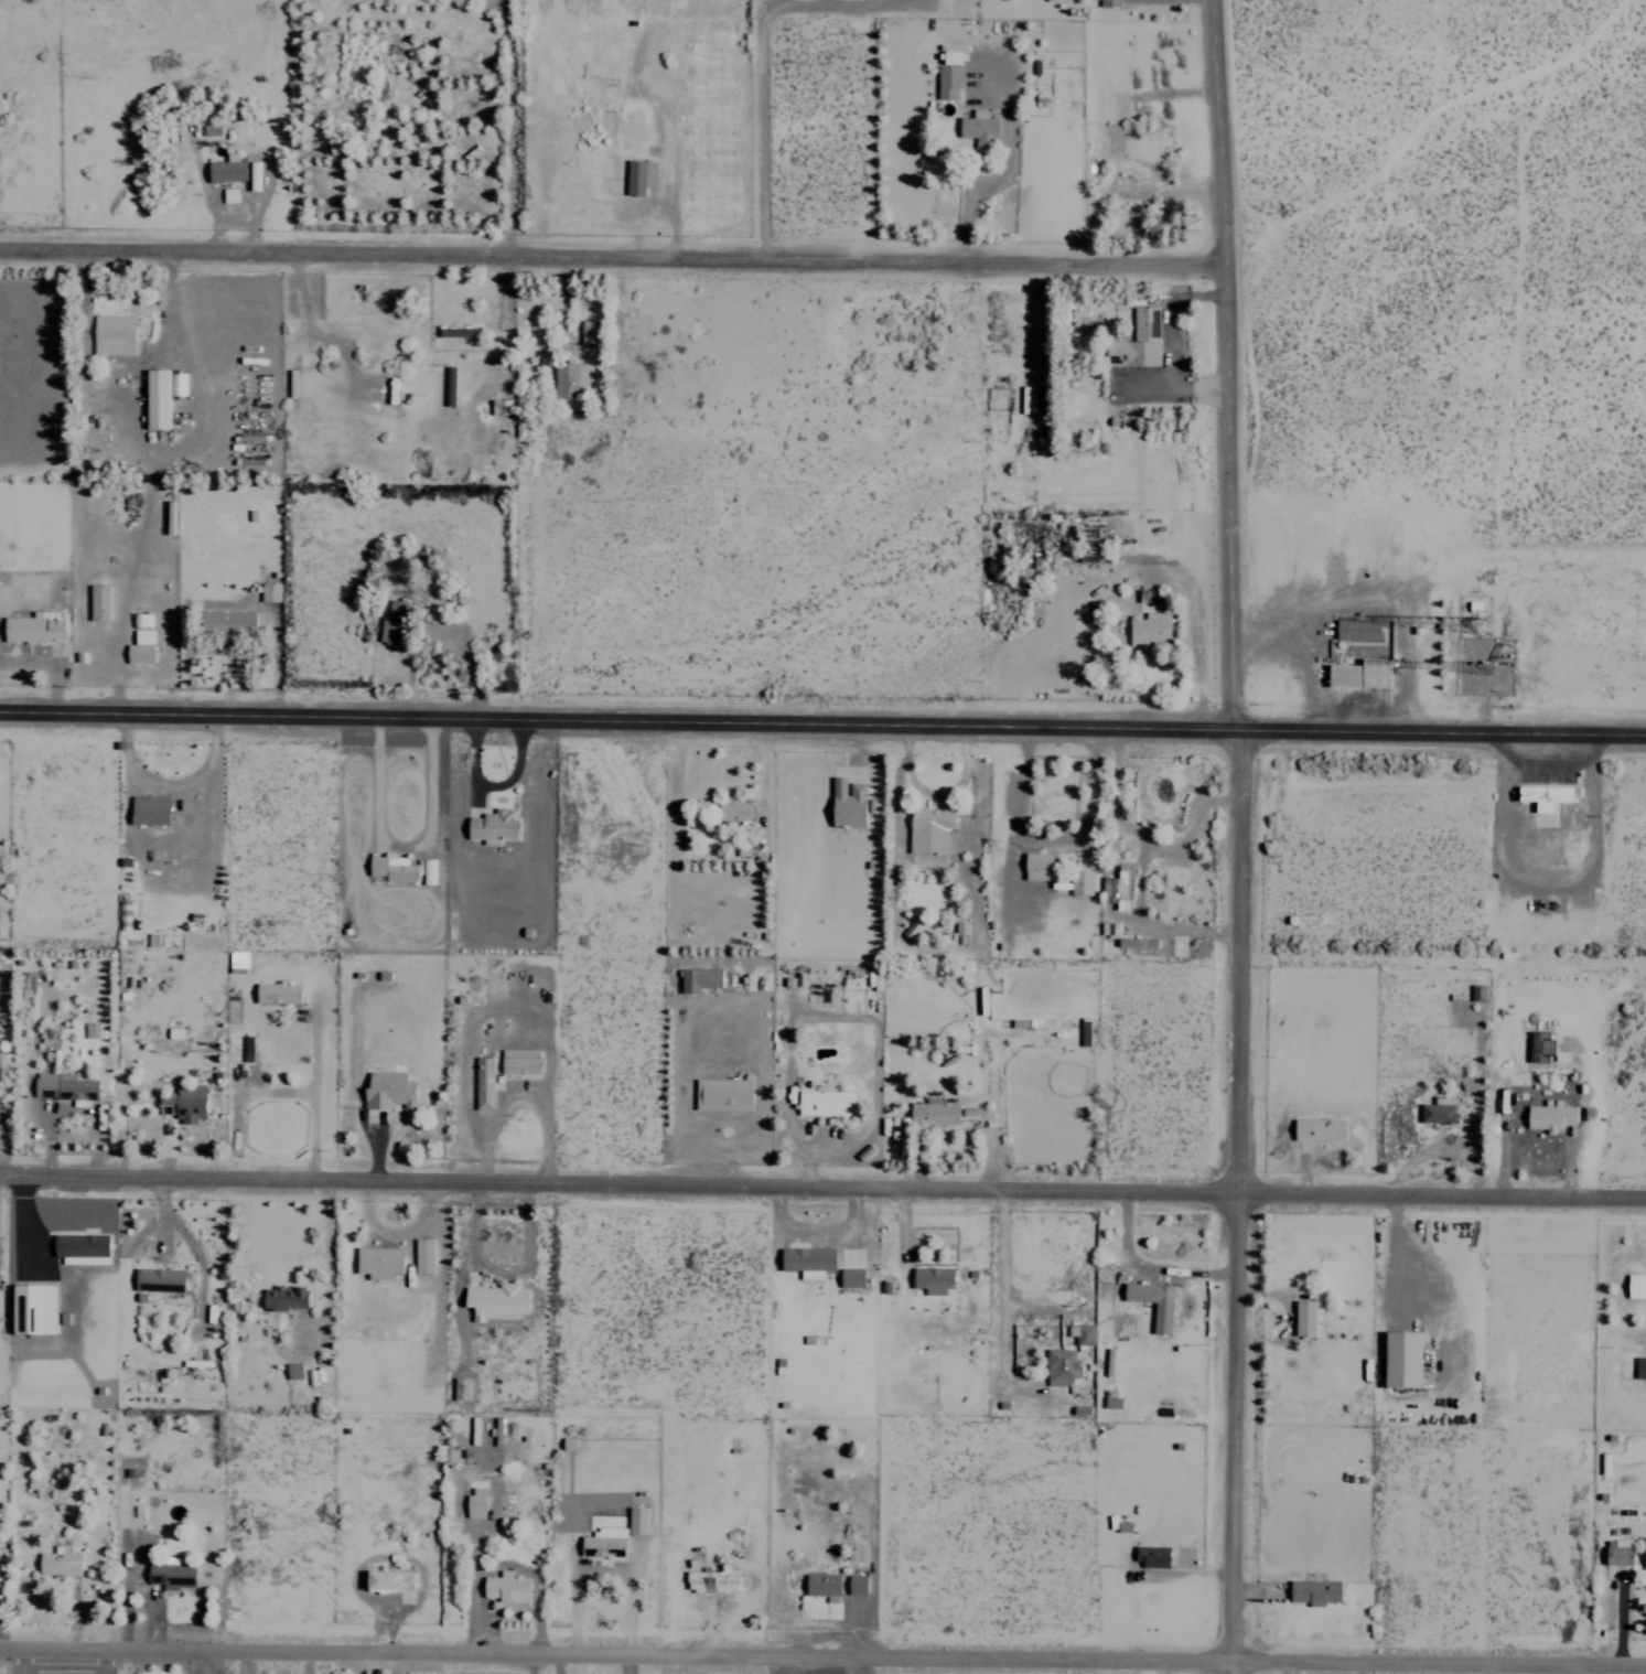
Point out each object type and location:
building: (1107, 2)
building: (947, 81)
building: (208, 127)
road: (756, 127)
building: (977, 128)
building: (226, 174)
building: (251, 175)
building: (638, 175)
road: (611, 255)
building: (458, 331)
building: (587, 332)
building: (111, 334)
building: (1136, 341)
park: (1462, 355)
road: (1223, 363)
building: (569, 379)
building: (154, 398)
building: (1086, 544)
building: (268, 592)
building: (97, 602)
building: (1150, 602)
building: (137, 620)
building: (228, 621)
building: (391, 623)
building: (33, 626)
building: (1149, 629)
building: (1355, 629)
building: (139, 647)
building: (1359, 673)
road: (822, 719)
building: (1545, 795)
building: (846, 803)
building: (148, 809)
building: (732, 811)
building: (491, 826)
building: (928, 830)
building: (1036, 866)
building: (391, 868)
building: (426, 871)
building: (1122, 881)
building: (1079, 882)
building: (1303, 919)
building: (910, 929)
building: (960, 932)
building: (698, 979)
building: (276, 992)
building: (1476, 992)
building: (92, 1030)
building: (246, 1048)
building: (518, 1061)
building: (482, 1083)
building: (64, 1087)
building: (387, 1091)
building: (722, 1094)
building: (182, 1103)
building: (824, 1103)
building: (1439, 1110)
building: (933, 1112)
building: (1548, 1116)
building: (1317, 1129)
road: (822, 1183)
road: (1236, 1201)
building: (79, 1248)
building: (422, 1256)
building: (806, 1260)
building: (378, 1262)
building: (850, 1277)
building: (932, 1279)
building: (157, 1280)
building: (1635, 1286)
building: (282, 1298)
building: (494, 1301)
building: (211, 1306)
building: (31, 1309)
building: (1161, 1318)
building: (1303, 1319)
building: (1080, 1333)
building: (1400, 1360)
building: (1059, 1367)
building: (1639, 1367)
building: (292, 1371)
building: (460, 1389)
building: (1141, 1389)
building: (1111, 1402)
building: (567, 1444)
building: (474, 1502)
building: (635, 1520)
building: (601, 1546)
building: (1644, 1553)
building: (1150, 1556)
building: (1616, 1558)
building: (57, 1563)
building: (170, 1576)
building: (387, 1580)
building: (710, 1581)
building: (856, 1585)
building: (821, 1586)
building: (504, 1587)
building: (1313, 1591)
road: (822, 1653)

